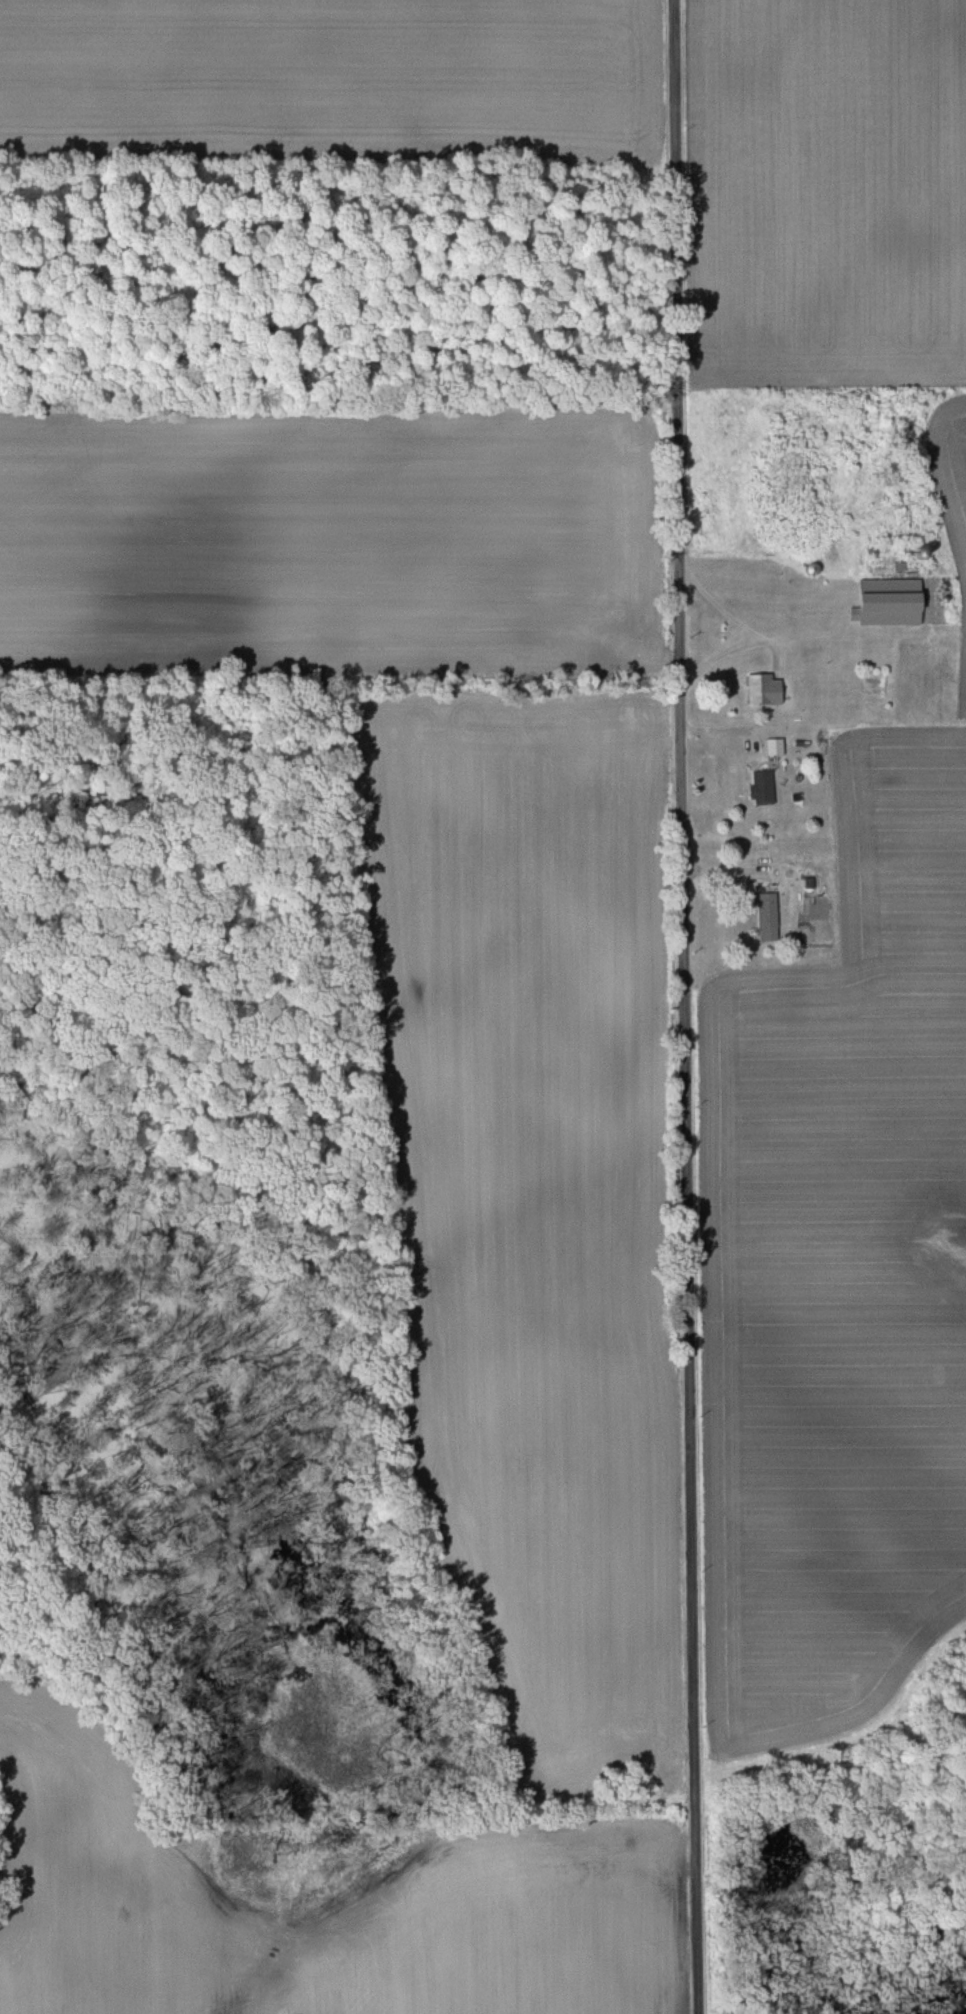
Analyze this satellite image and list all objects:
building: (885, 601)
road: (754, 633)
building: (759, 688)
building: (758, 787)
building: (764, 916)
road: (686, 1007)

